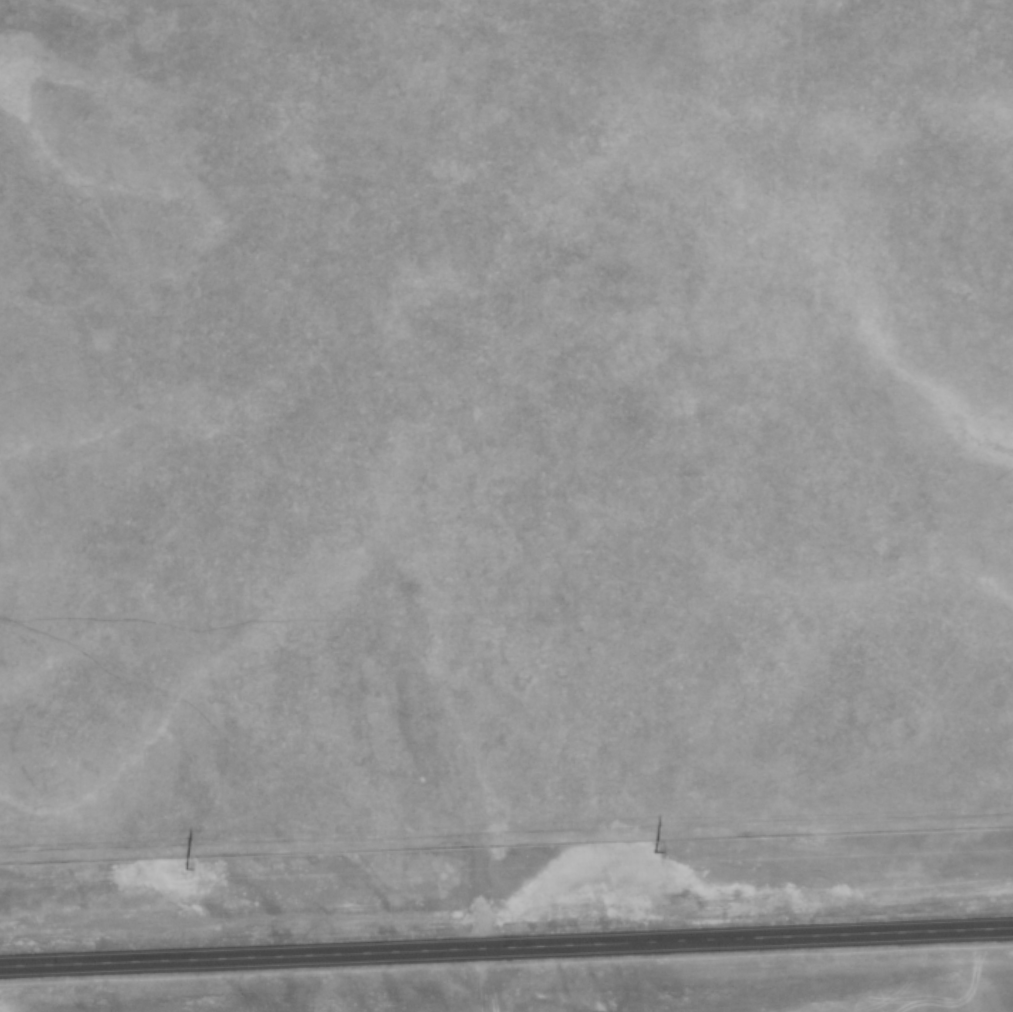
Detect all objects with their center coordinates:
power tower: (654, 851)
power tower: (185, 867)
road: (506, 949)

